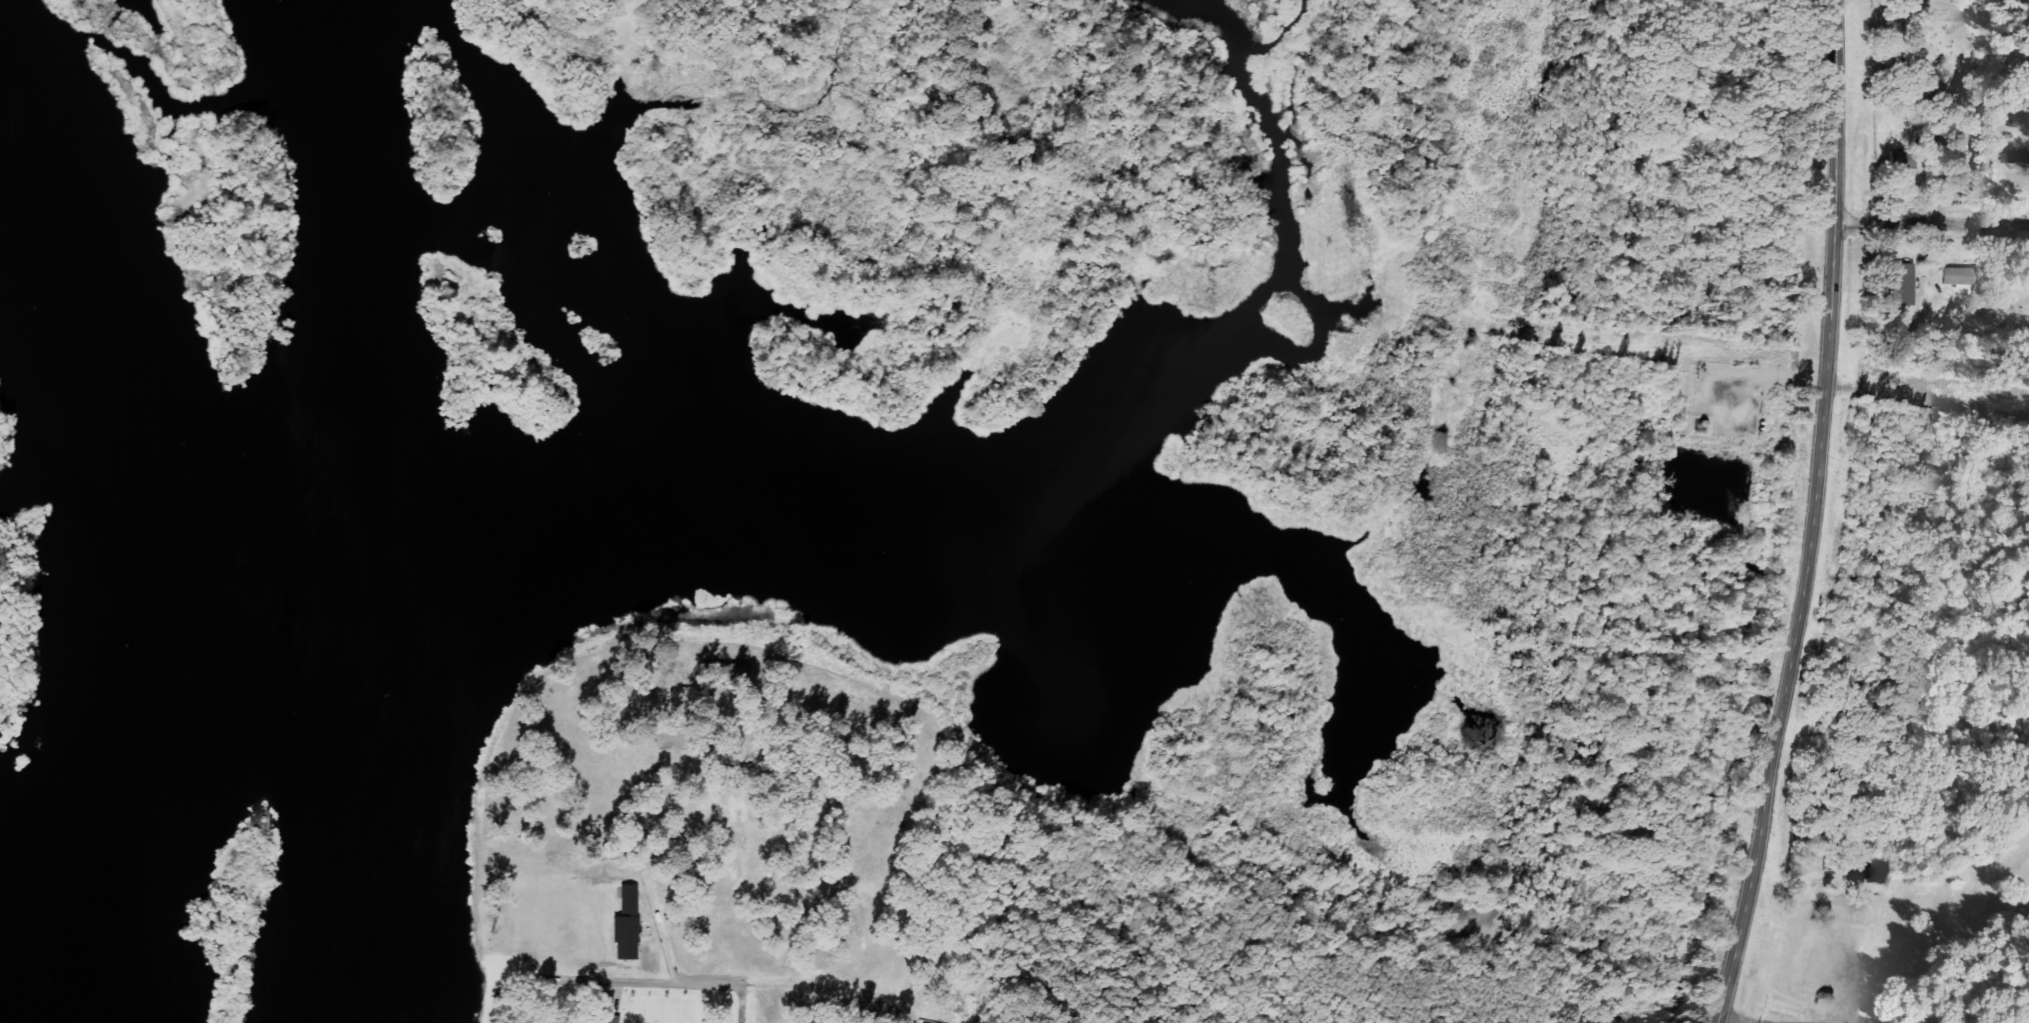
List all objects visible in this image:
building: (2018, 157)
building: (1902, 159)
road: (1933, 224)
building: (1958, 275)
building: (1904, 283)
road: (1823, 516)
river: (245, 560)
building: (627, 923)
road: (755, 1005)

